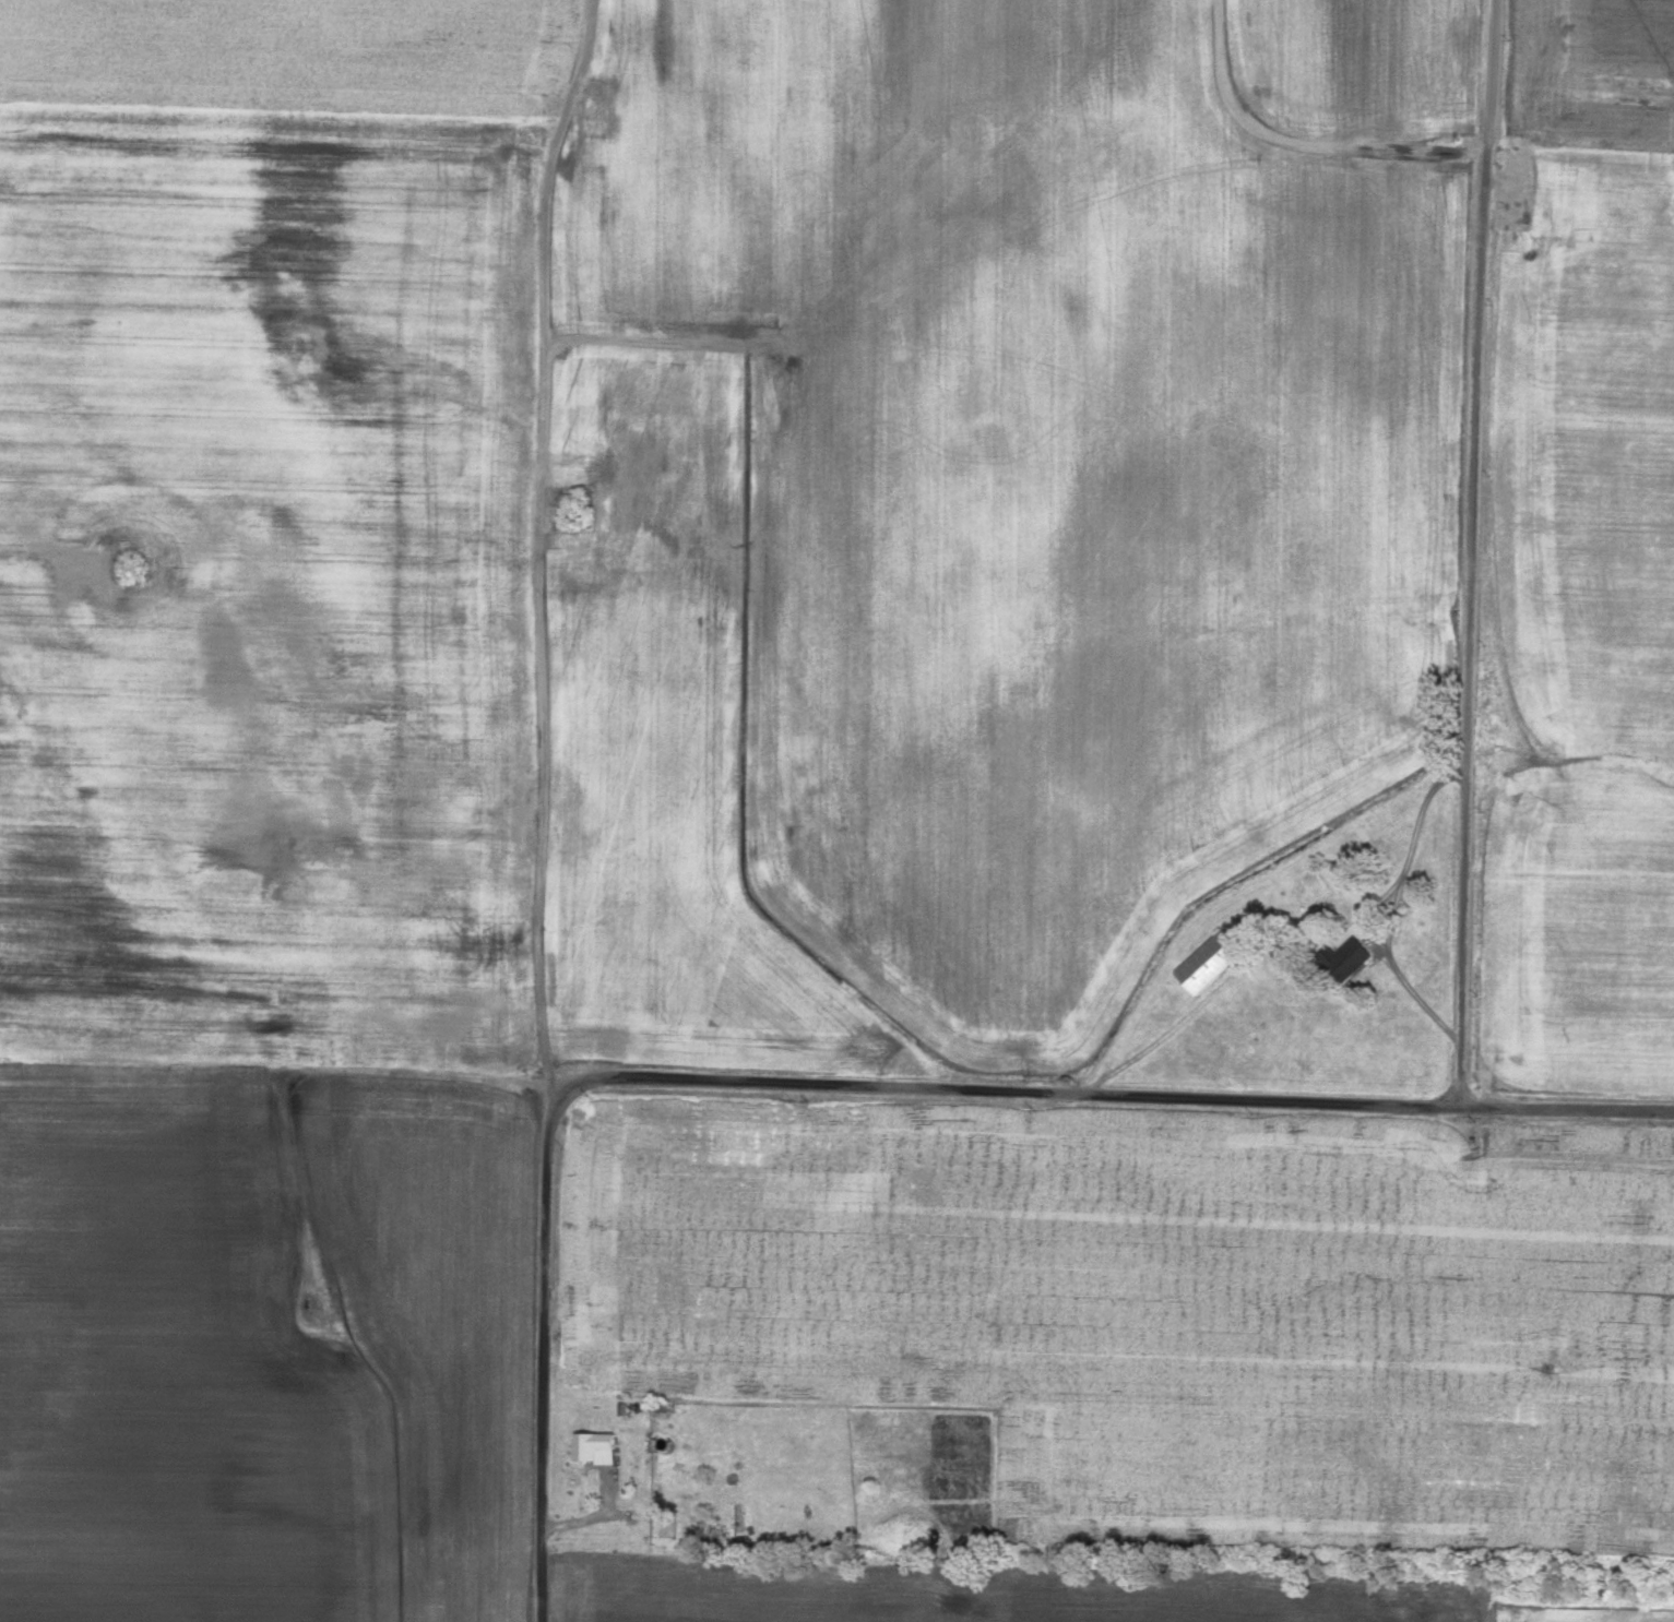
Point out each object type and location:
road: (1306, 146)
road: (660, 337)
road: (539, 548)
road: (1472, 553)
road: (1298, 944)
building: (1352, 958)
building: (1212, 963)
road: (1404, 977)
road: (317, 1070)
road: (1113, 1095)
petroleum well: (310, 1310)
road: (545, 1360)
building: (584, 1394)
building: (627, 1410)
building: (598, 1450)

